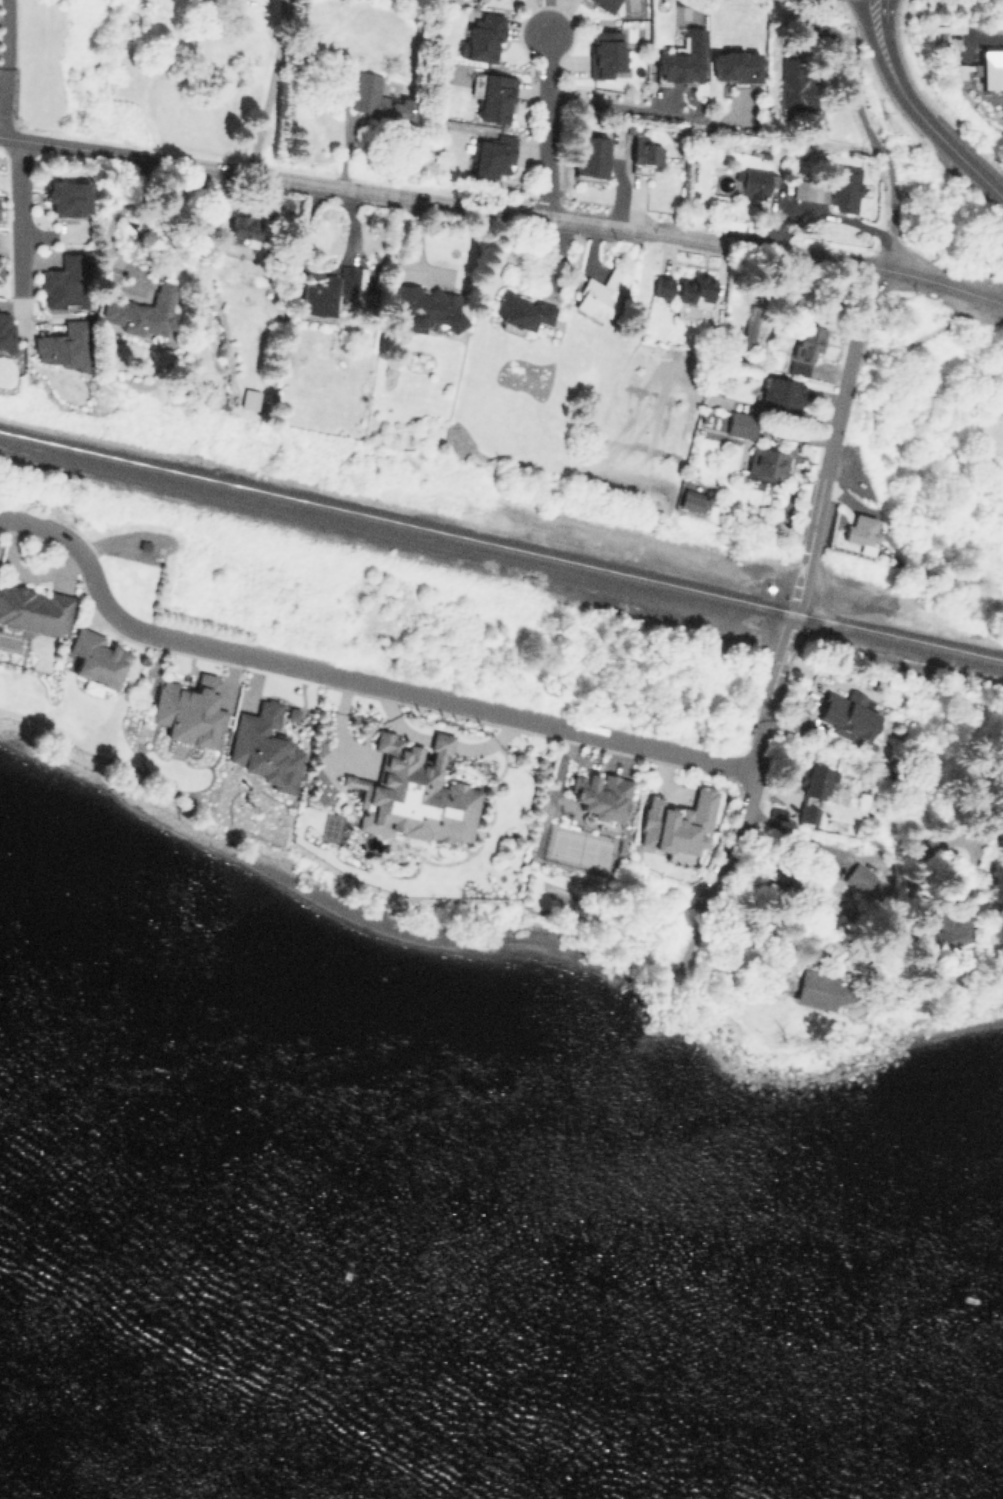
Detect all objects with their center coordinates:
building: (605, 4)
building: (482, 38)
building: (605, 52)
road: (6, 53)
building: (682, 58)
building: (734, 66)
road: (889, 71)
building: (795, 85)
road: (268, 92)
building: (493, 95)
building: (379, 99)
road: (644, 112)
road: (546, 122)
building: (644, 153)
building: (591, 155)
building: (493, 156)
road: (967, 166)
building: (756, 181)
building: (830, 188)
building: (66, 196)
road: (503, 209)
road: (21, 213)
road: (112, 215)
building: (242, 229)
building: (0, 275)
building: (345, 277)
building: (65, 282)
building: (662, 286)
building: (695, 289)
building: (600, 294)
building: (320, 298)
building: (427, 304)
building: (523, 309)
building: (143, 313)
building: (750, 327)
building: (6, 329)
building: (65, 344)
building: (806, 347)
building: (781, 394)
building: (249, 398)
building: (741, 424)
building: (767, 463)
building: (689, 499)
road: (815, 523)
building: (860, 530)
railway: (501, 546)
building: (35, 609)
building: (97, 657)
road: (897, 661)
road: (355, 677)
building: (189, 710)
building: (291, 714)
building: (847, 716)
building: (264, 748)
building: (815, 780)
building: (415, 793)
building: (599, 795)
building: (776, 812)
building: (807, 814)
building: (676, 822)
building: (856, 876)
building: (944, 934)
building: (819, 989)
river: (49, 1483)

